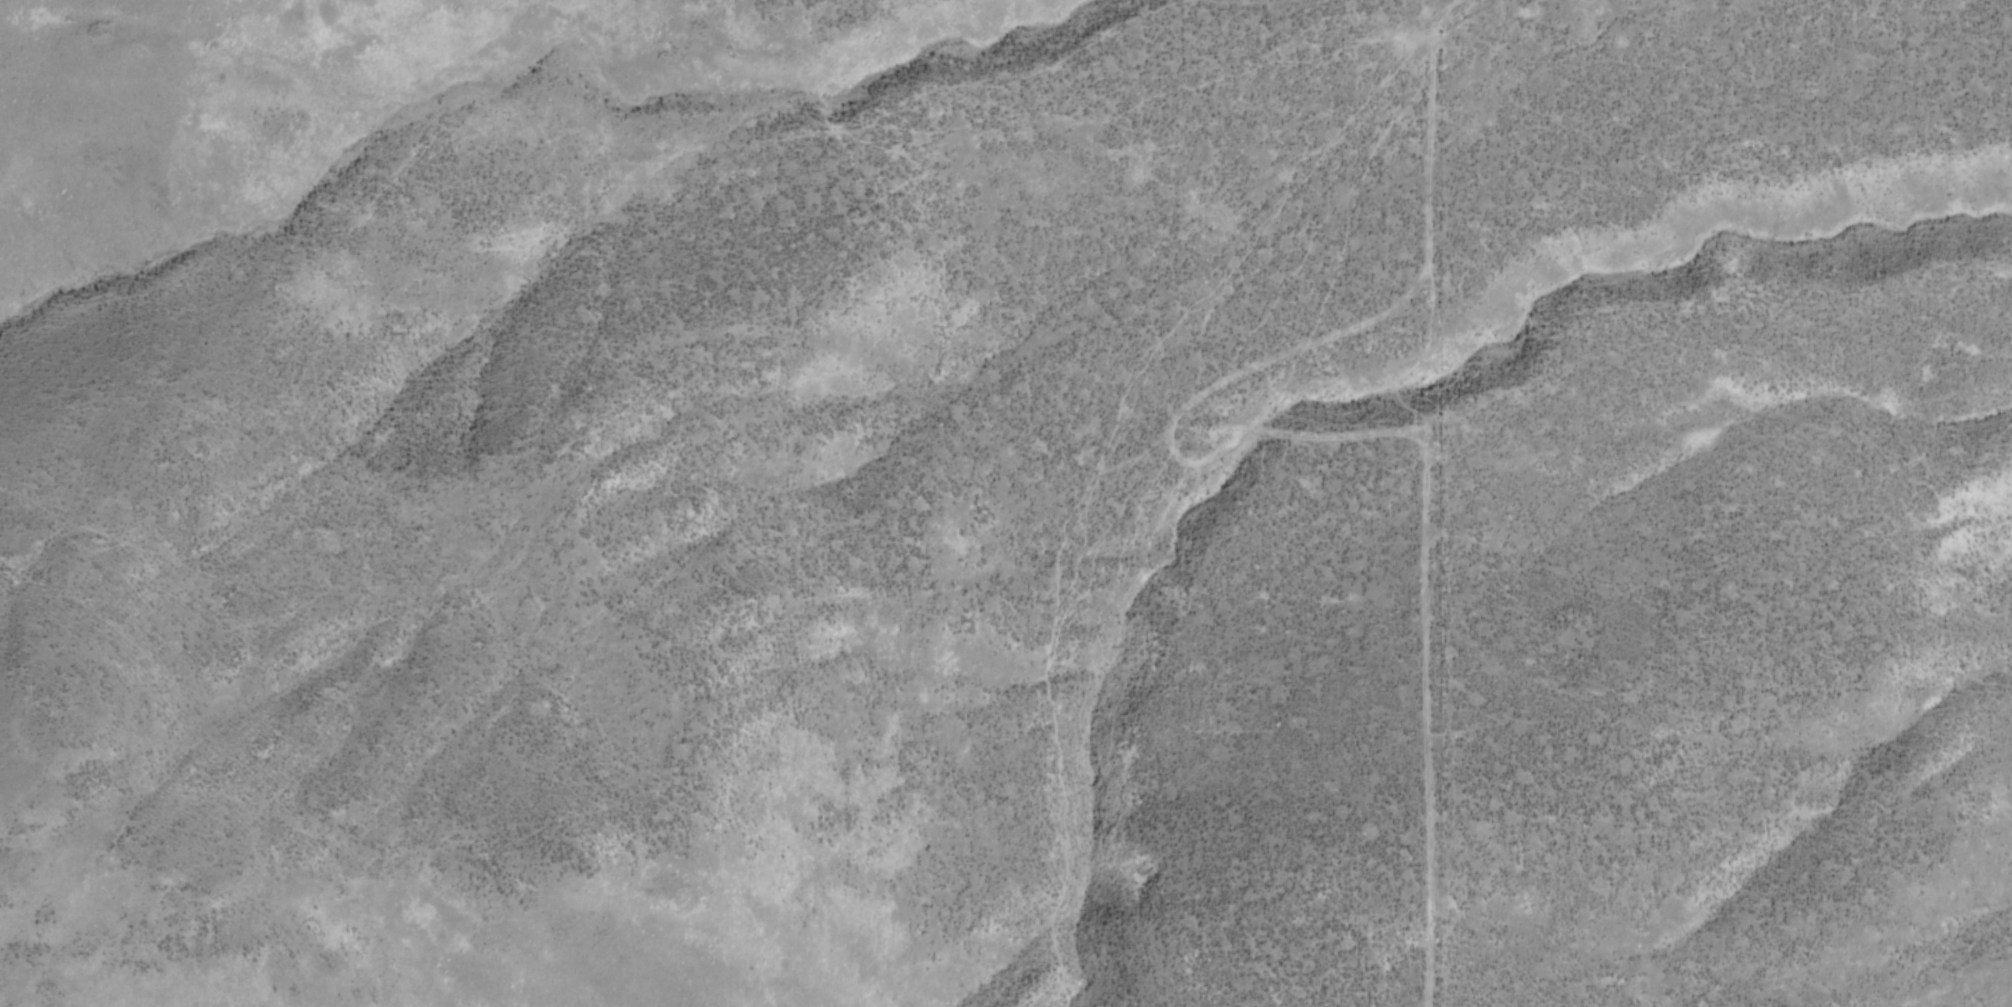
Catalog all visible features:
road: (1270, 431)

